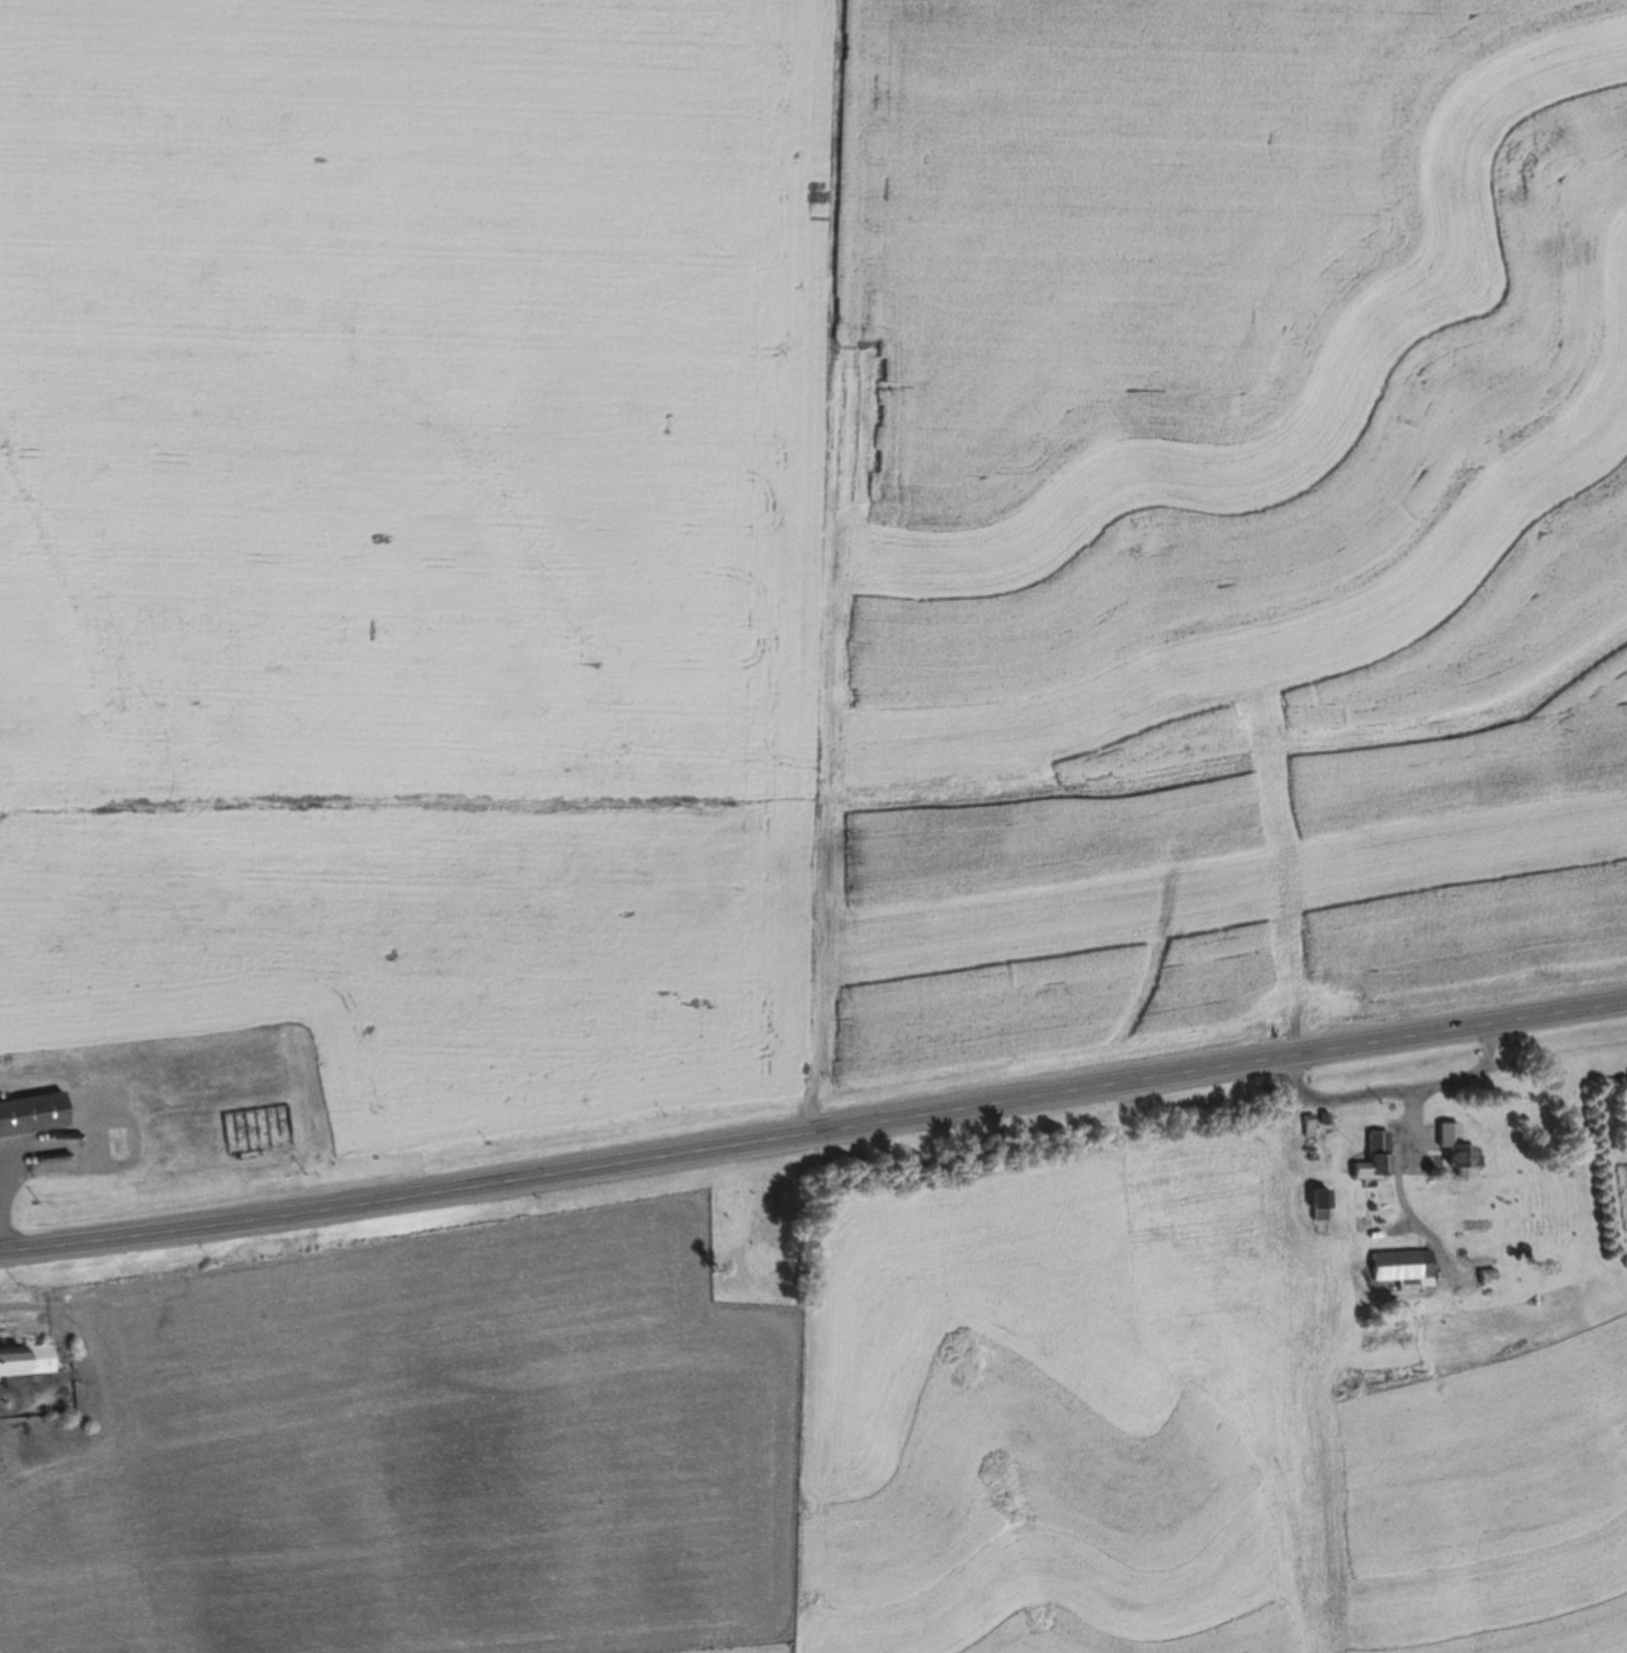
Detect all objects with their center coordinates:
building: (84, 1086)
building: (129, 1091)
building: (32, 1114)
building: (230, 1123)
road: (813, 1133)
building: (118, 1136)
building: (155, 1138)
building: (1464, 1156)
building: (1374, 1158)
building: (1322, 1205)
building: (1340, 1230)
park: (753, 1234)
building: (1403, 1265)
building: (1317, 1279)
building: (26, 1361)

